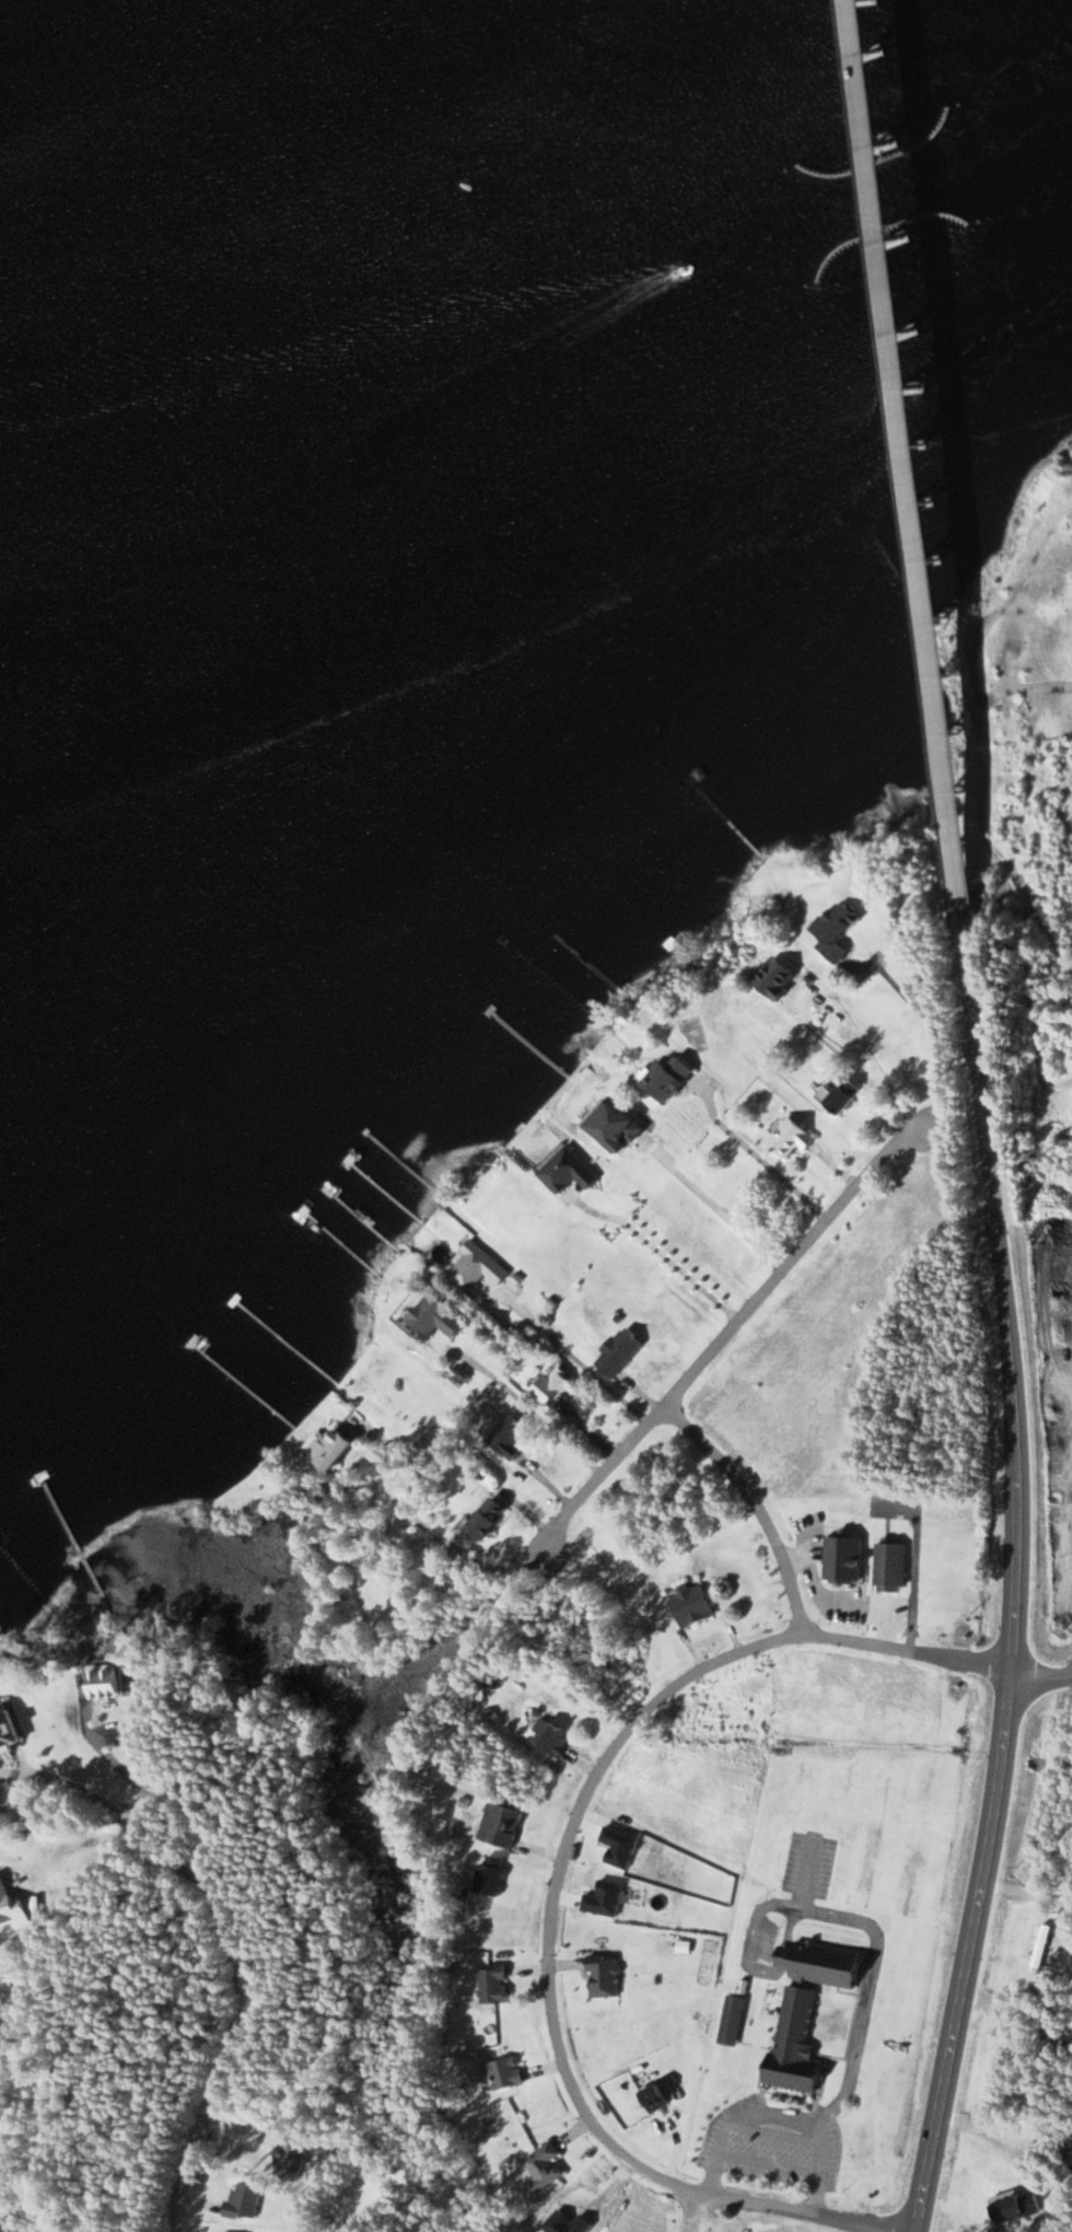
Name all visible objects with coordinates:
river: (470, 300)
road: (884, 466)
building: (571, 556)
building: (838, 929)
building: (675, 1077)
building: (839, 1094)
building: (570, 1171)
building: (479, 1267)
building: (435, 1320)
road: (719, 1338)
building: (621, 1352)
building: (558, 1386)
building: (513, 1439)
building: (335, 1449)
road: (750, 1510)
building: (492, 1519)
building: (846, 1559)
building: (893, 1567)
road: (1015, 1583)
building: (695, 1605)
road: (1042, 1674)
building: (9, 1731)
building: (556, 1737)
building: (498, 1823)
road: (557, 1891)
building: (1042, 1946)
building: (606, 1976)
building: (734, 2019)
road: (234, 2022)
building: (797, 2043)
building: (506, 2073)
building: (662, 2097)
building: (547, 2166)
building: (1021, 2208)
road: (689, 2210)

